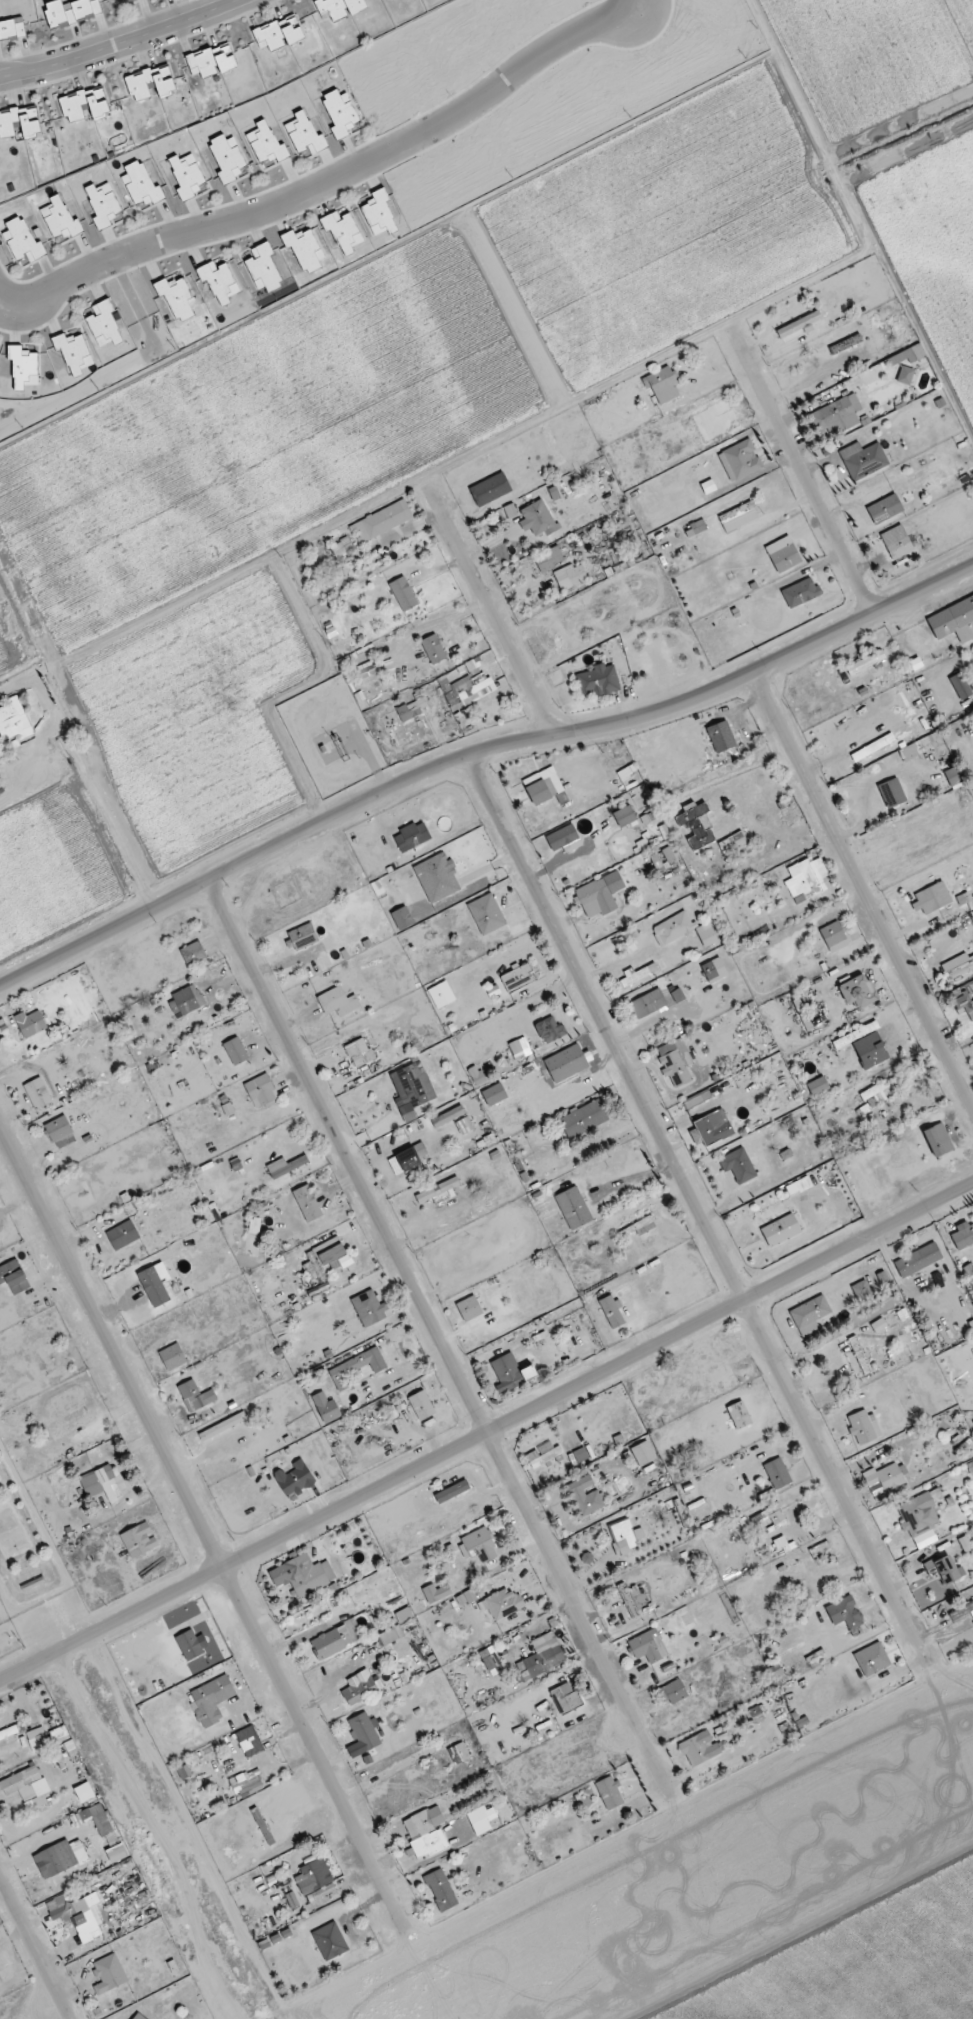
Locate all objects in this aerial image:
building: (339, 7)
building: (70, 10)
building: (12, 26)
building: (278, 32)
road: (114, 45)
building: (212, 59)
building: (138, 81)
building: (84, 103)
building: (19, 120)
road: (343, 176)
building: (800, 325)
building: (846, 344)
building: (872, 374)
building: (906, 375)
building: (662, 385)
road: (762, 390)
building: (837, 415)
building: (864, 459)
building: (740, 460)
building: (709, 487)
building: (491, 489)
building: (885, 509)
building: (738, 517)
building: (537, 519)
building: (382, 520)
building: (699, 526)
road: (832, 531)
building: (897, 542)
building: (783, 554)
building: (544, 562)
building: (571, 576)
road: (476, 577)
building: (801, 592)
building: (403, 593)
building: (953, 621)
building: (433, 648)
building: (865, 663)
building: (599, 680)
building: (488, 684)
building: (961, 686)
road: (536, 703)
building: (409, 710)
building: (14, 719)
building: (721, 736)
building: (917, 748)
road: (478, 755)
building: (626, 774)
building: (954, 776)
building: (543, 786)
building: (892, 793)
building: (624, 816)
building: (697, 825)
building: (412, 836)
building: (564, 839)
building: (734, 846)
building: (668, 854)
building: (437, 877)
building: (806, 879)
road: (863, 894)
building: (596, 898)
building: (932, 898)
building: (486, 914)
building: (684, 930)
building: (832, 934)
building: (302, 936)
building: (838, 946)
building: (193, 952)
building: (959, 965)
building: (714, 970)
building: (637, 974)
building: (516, 979)
building: (858, 991)
building: (677, 996)
building: (963, 998)
building: (185, 1000)
building: (338, 1001)
building: (649, 1003)
building: (802, 1014)
building: (31, 1023)
building: (550, 1030)
building: (856, 1035)
building: (519, 1045)
building: (236, 1050)
building: (359, 1054)
building: (675, 1061)
building: (416, 1084)
building: (818, 1086)
building: (261, 1090)
building: (38, 1092)
building: (875, 1095)
building: (698, 1101)
building: (448, 1115)
building: (584, 1118)
building: (465, 1124)
building: (713, 1126)
building: (60, 1131)
building: (938, 1139)
building: (412, 1155)
building: (738, 1164)
building: (286, 1165)
building: (438, 1190)
building: (307, 1202)
building: (574, 1207)
road: (698, 1211)
building: (780, 1230)
building: (123, 1234)
building: (963, 1235)
building: (331, 1251)
building: (918, 1259)
building: (14, 1276)
building: (860, 1286)
building: (469, 1307)
building: (370, 1308)
building: (612, 1311)
building: (810, 1312)
building: (879, 1325)
road: (441, 1341)
building: (173, 1356)
building: (357, 1367)
building: (510, 1371)
building: (192, 1394)
building: (422, 1404)
building: (327, 1407)
building: (74, 1425)
building: (863, 1426)
road: (486, 1433)
building: (643, 1452)
building: (543, 1456)
building: (778, 1473)
building: (884, 1476)
building: (294, 1478)
building: (99, 1482)
building: (452, 1491)
building: (585, 1495)
building: (910, 1506)
road: (201, 1522)
building: (624, 1536)
building: (139, 1539)
building: (480, 1544)
building: (944, 1568)
building: (307, 1574)
park: (35, 1577)
building: (628, 1600)
building: (962, 1611)
building: (846, 1613)
building: (391, 1634)
building: (331, 1642)
building: (646, 1645)
building: (542, 1657)
building: (872, 1658)
building: (489, 1660)
building: (358, 1687)
building: (672, 1692)
building: (566, 1696)
building: (211, 1699)
building: (757, 1714)
building: (59, 1734)
building: (362, 1734)
building: (42, 1738)
building: (249, 1740)
building: (700, 1747)
building: (459, 1753)
road: (388, 1771)
building: (22, 1781)
building: (247, 1783)
building: (610, 1792)
building: (481, 1819)
building: (78, 1820)
building: (424, 1834)
building: (49, 1862)
building: (319, 1882)
building: (441, 1889)
building: (74, 1914)
building: (330, 1940)
road: (35, 1948)
building: (109, 1973)

